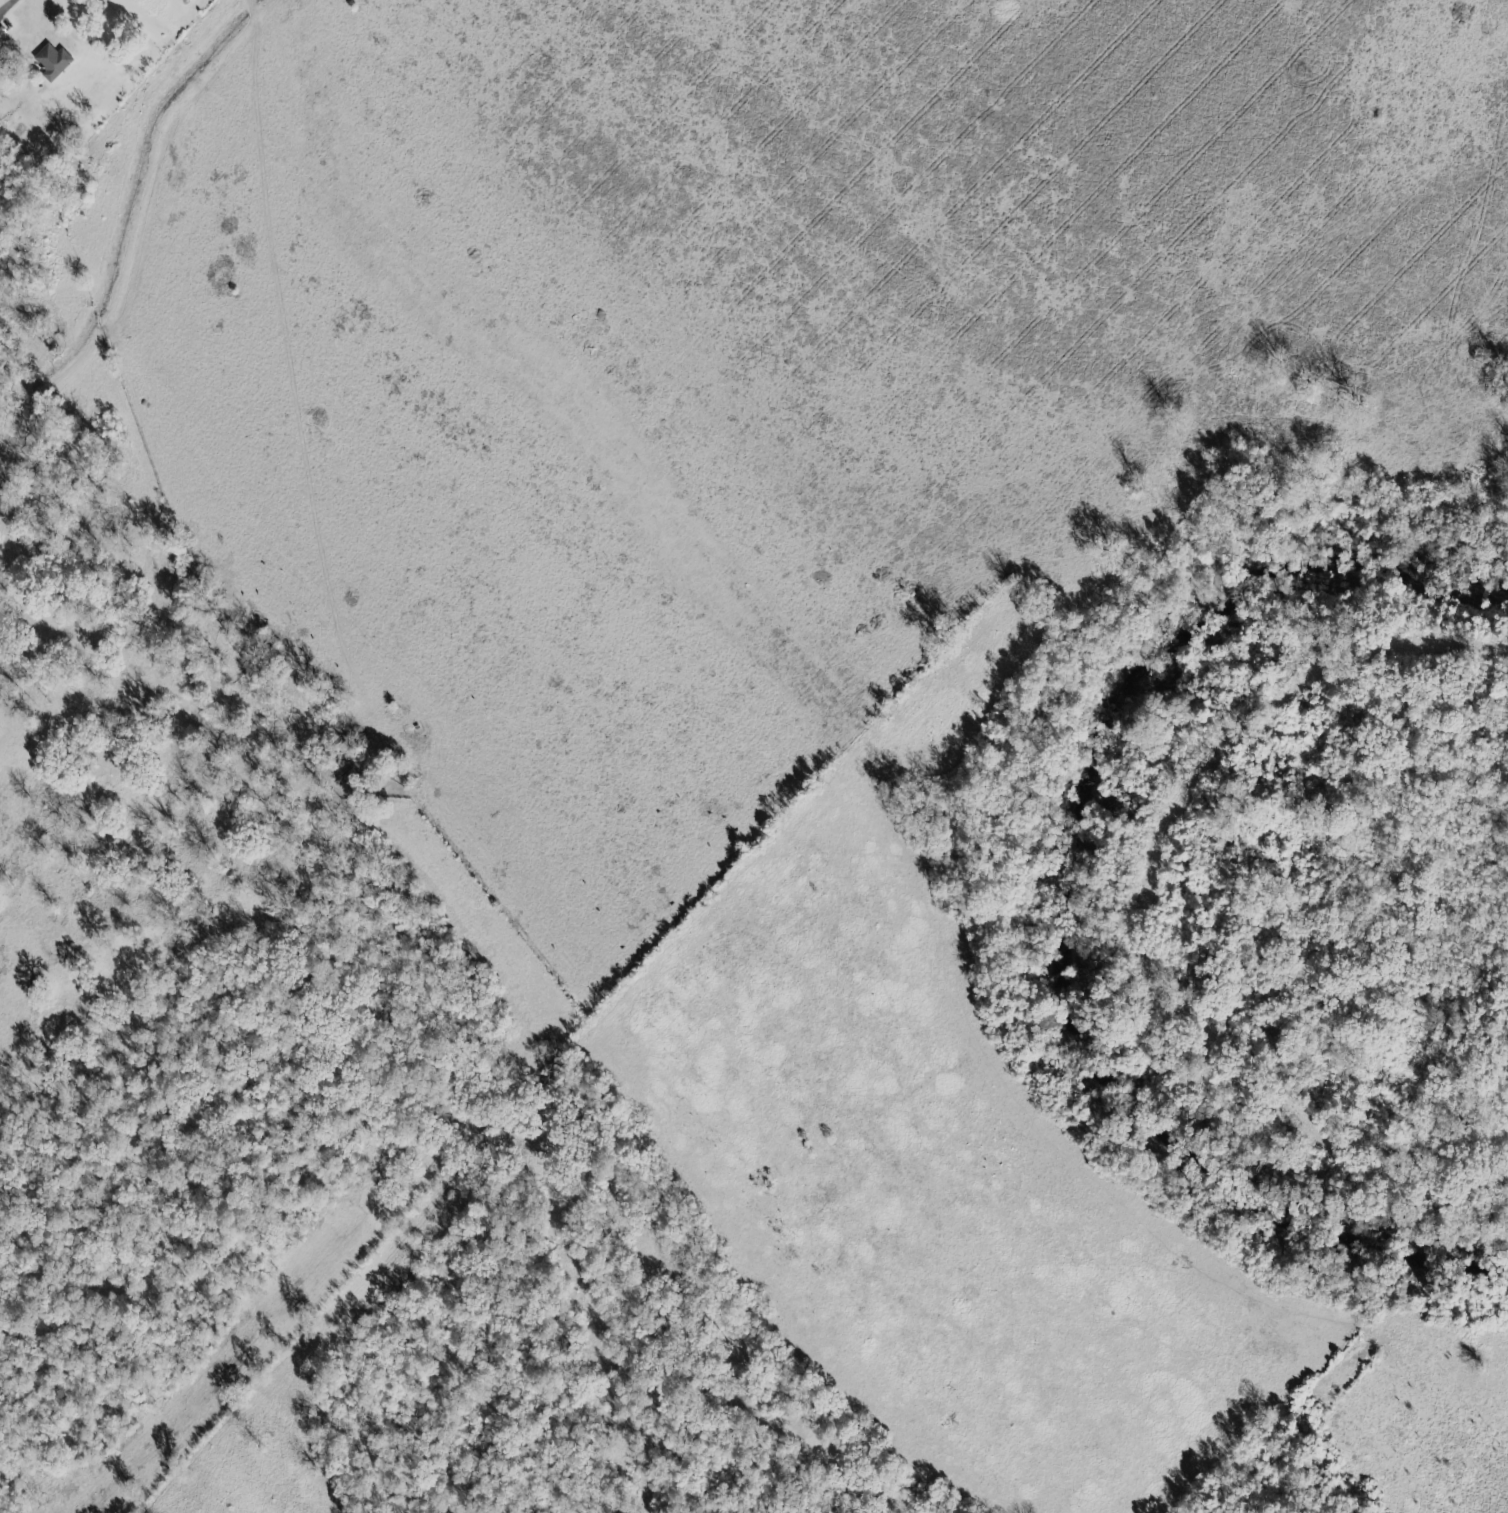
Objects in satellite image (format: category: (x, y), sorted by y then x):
road: (9, 9)
road: (16, 51)
building: (54, 61)

